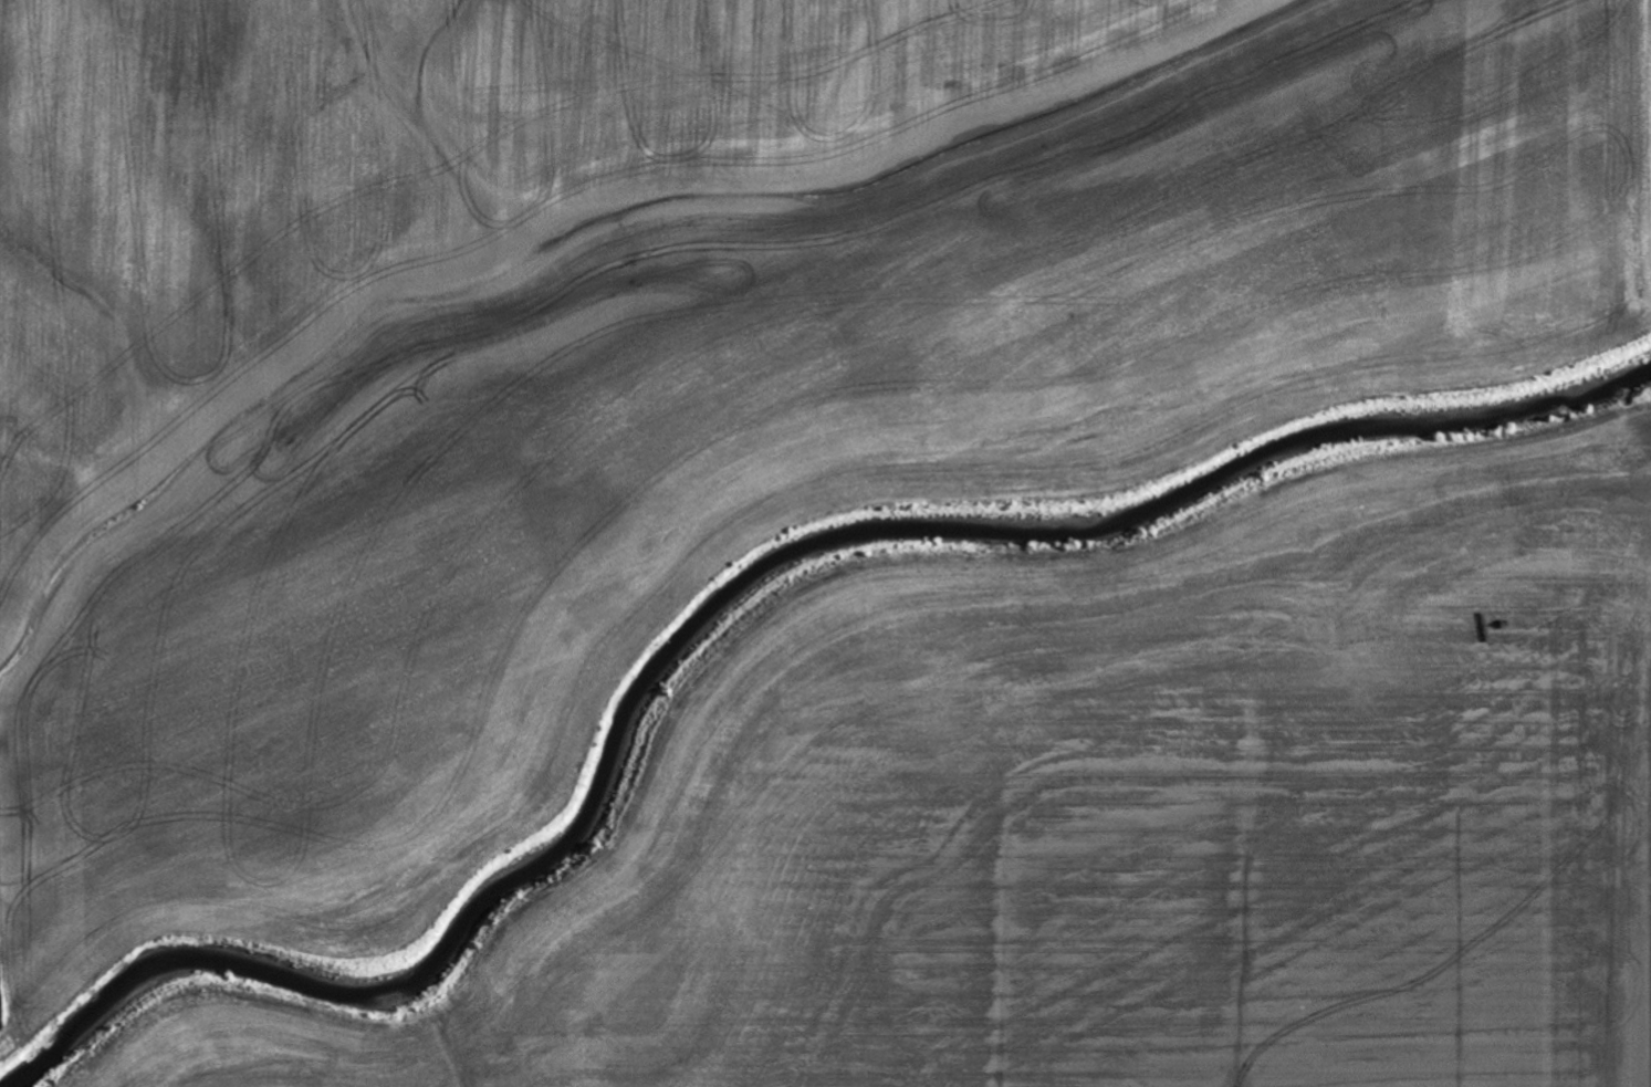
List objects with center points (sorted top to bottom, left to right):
river: (597, 812)

